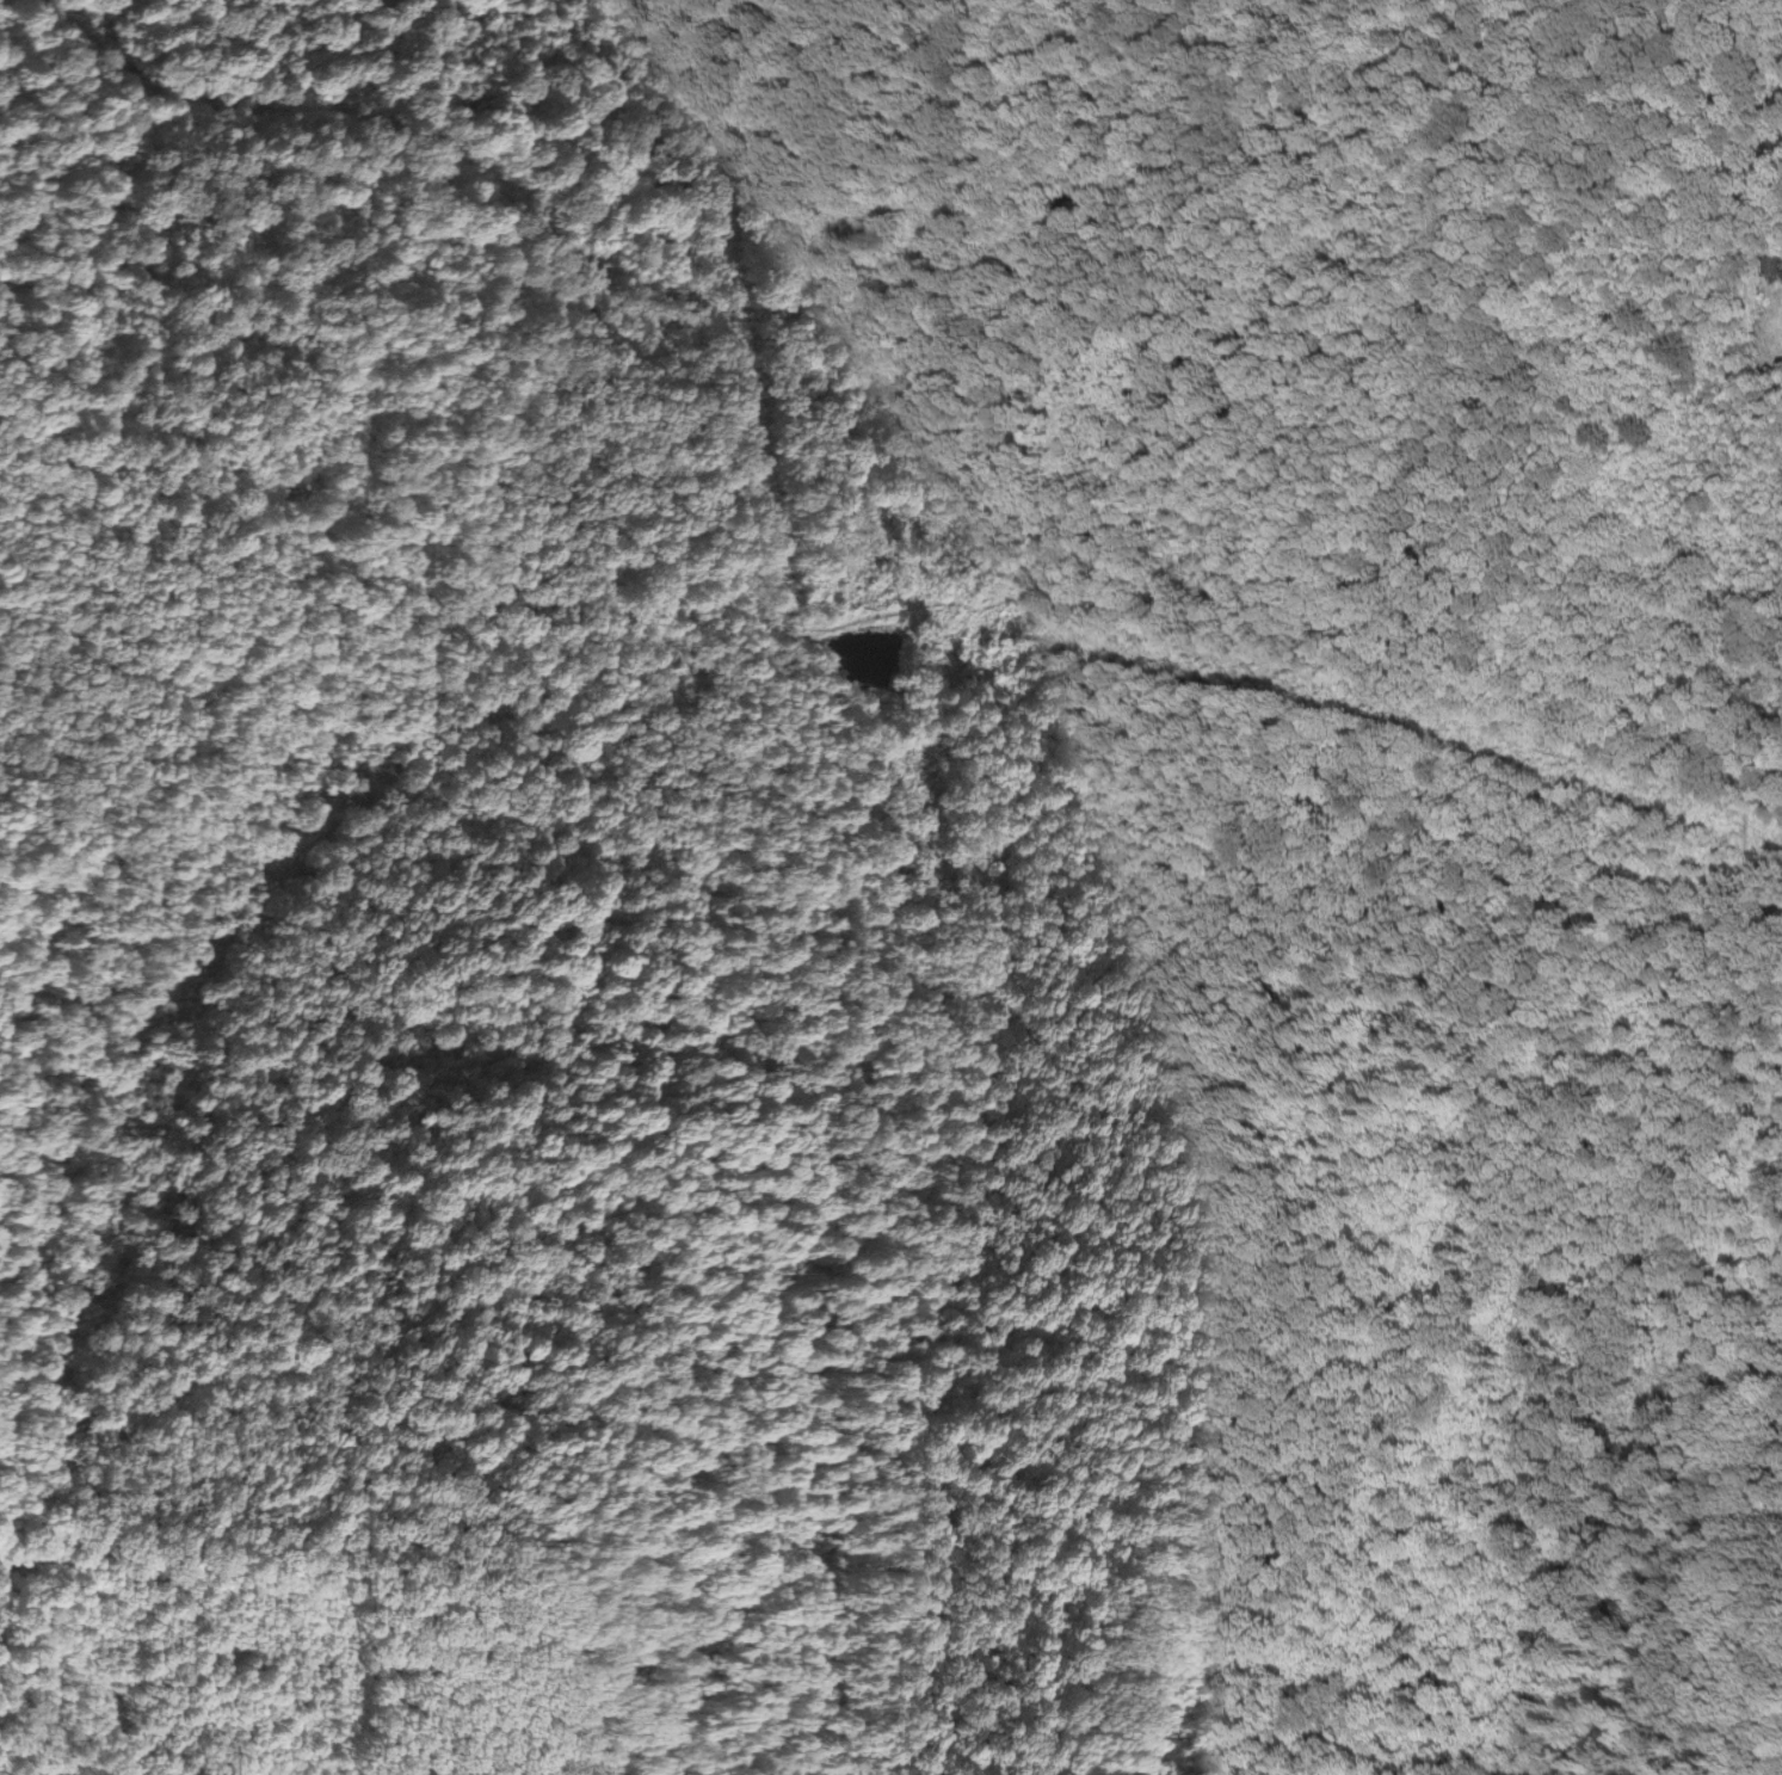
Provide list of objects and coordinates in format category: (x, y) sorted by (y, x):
building: (1771, 269)

